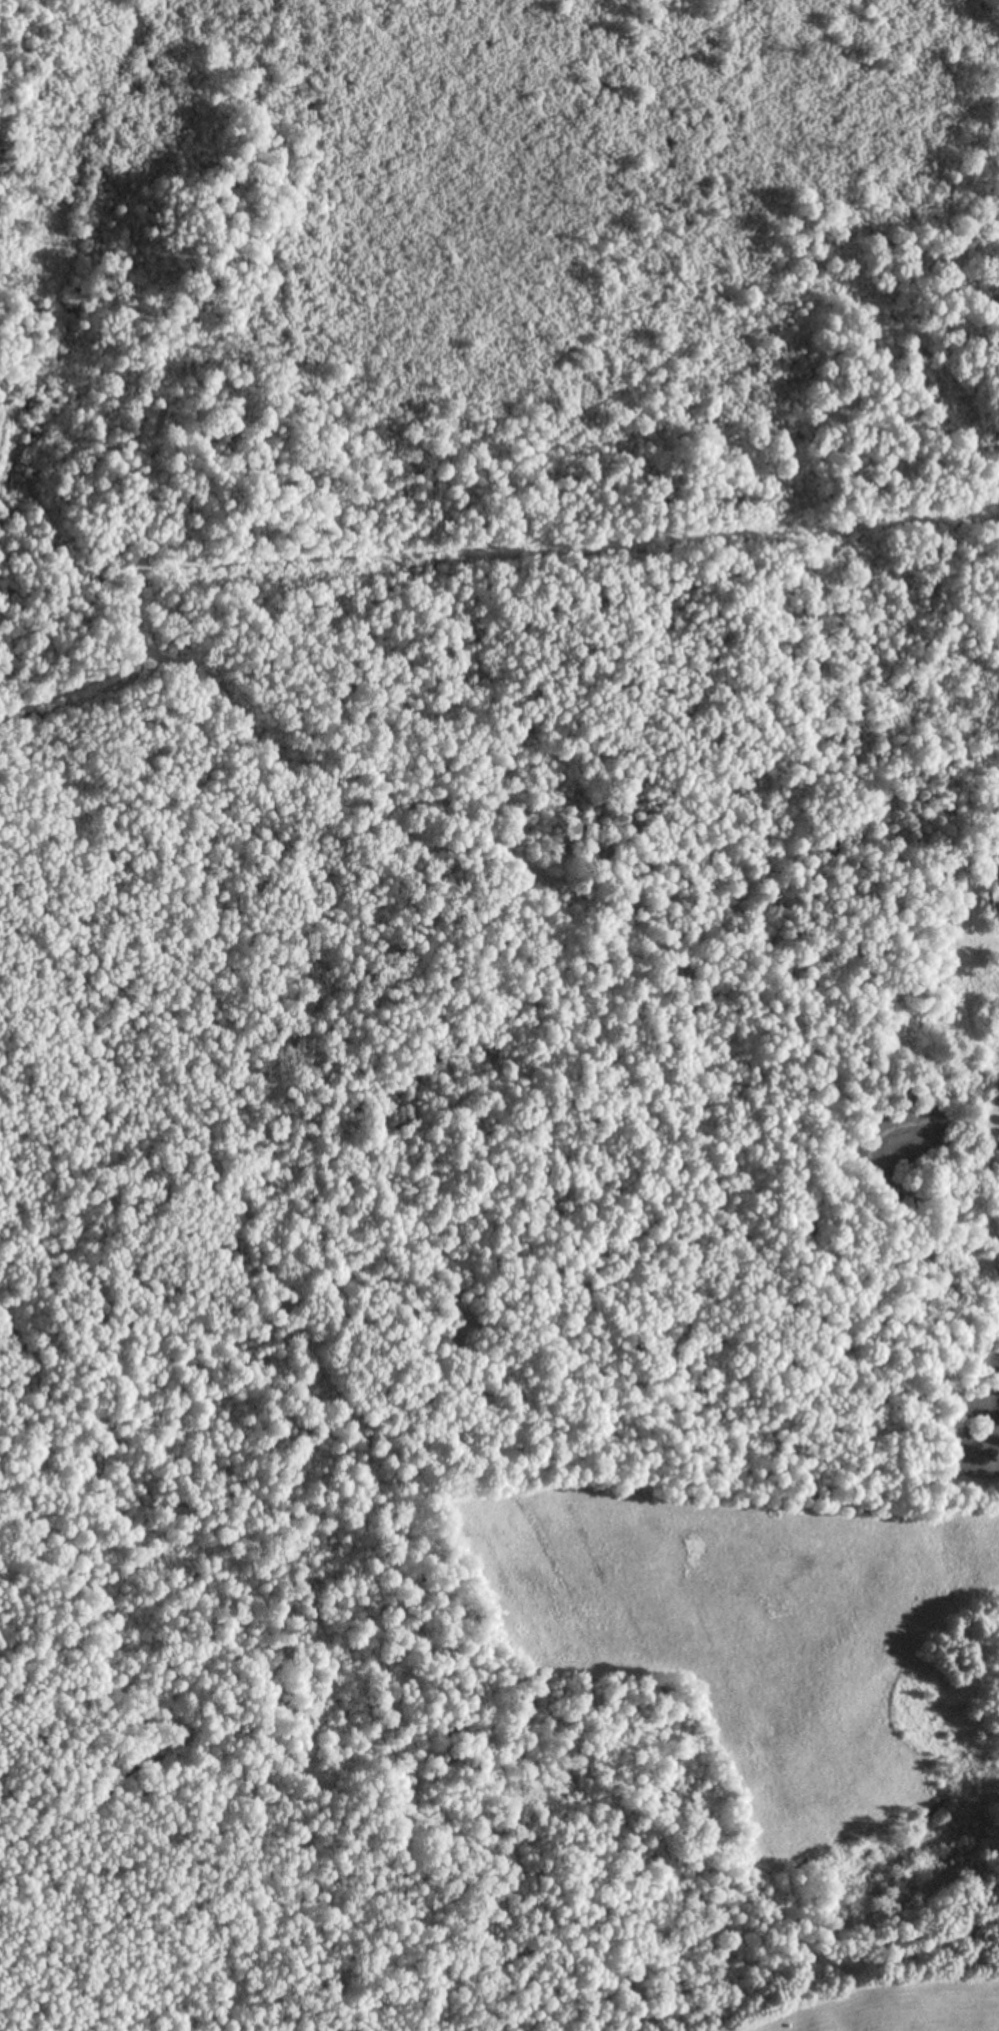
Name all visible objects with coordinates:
building: (995, 915)

